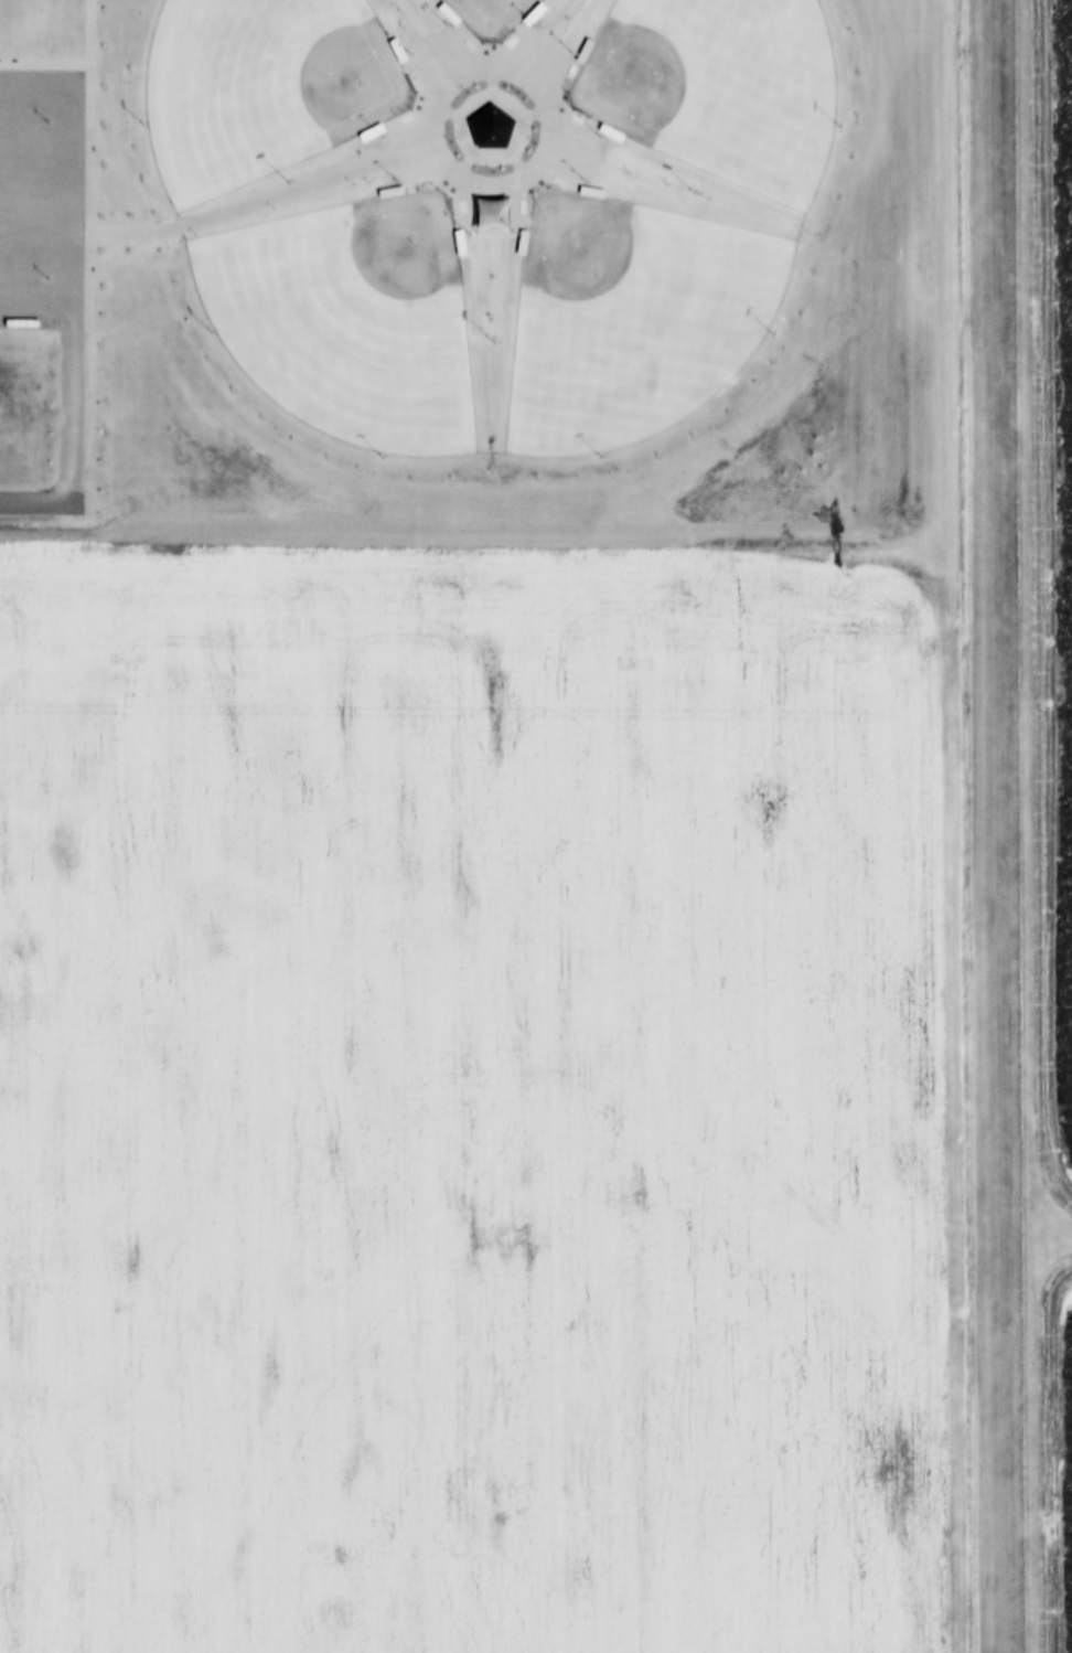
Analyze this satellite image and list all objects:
park: (493, 13)
road: (420, 29)
road: (90, 32)
park: (265, 85)
park: (717, 85)
road: (35, 95)
road: (35, 149)
road: (88, 157)
road: (538, 183)
road: (35, 198)
parking lot: (41, 199)
road: (261, 202)
road: (34, 253)
road: (69, 298)
road: (34, 301)
park: (351, 320)
park: (628, 320)
road: (34, 500)
wastewater plant: (1044, 800)
crop: (473, 828)

